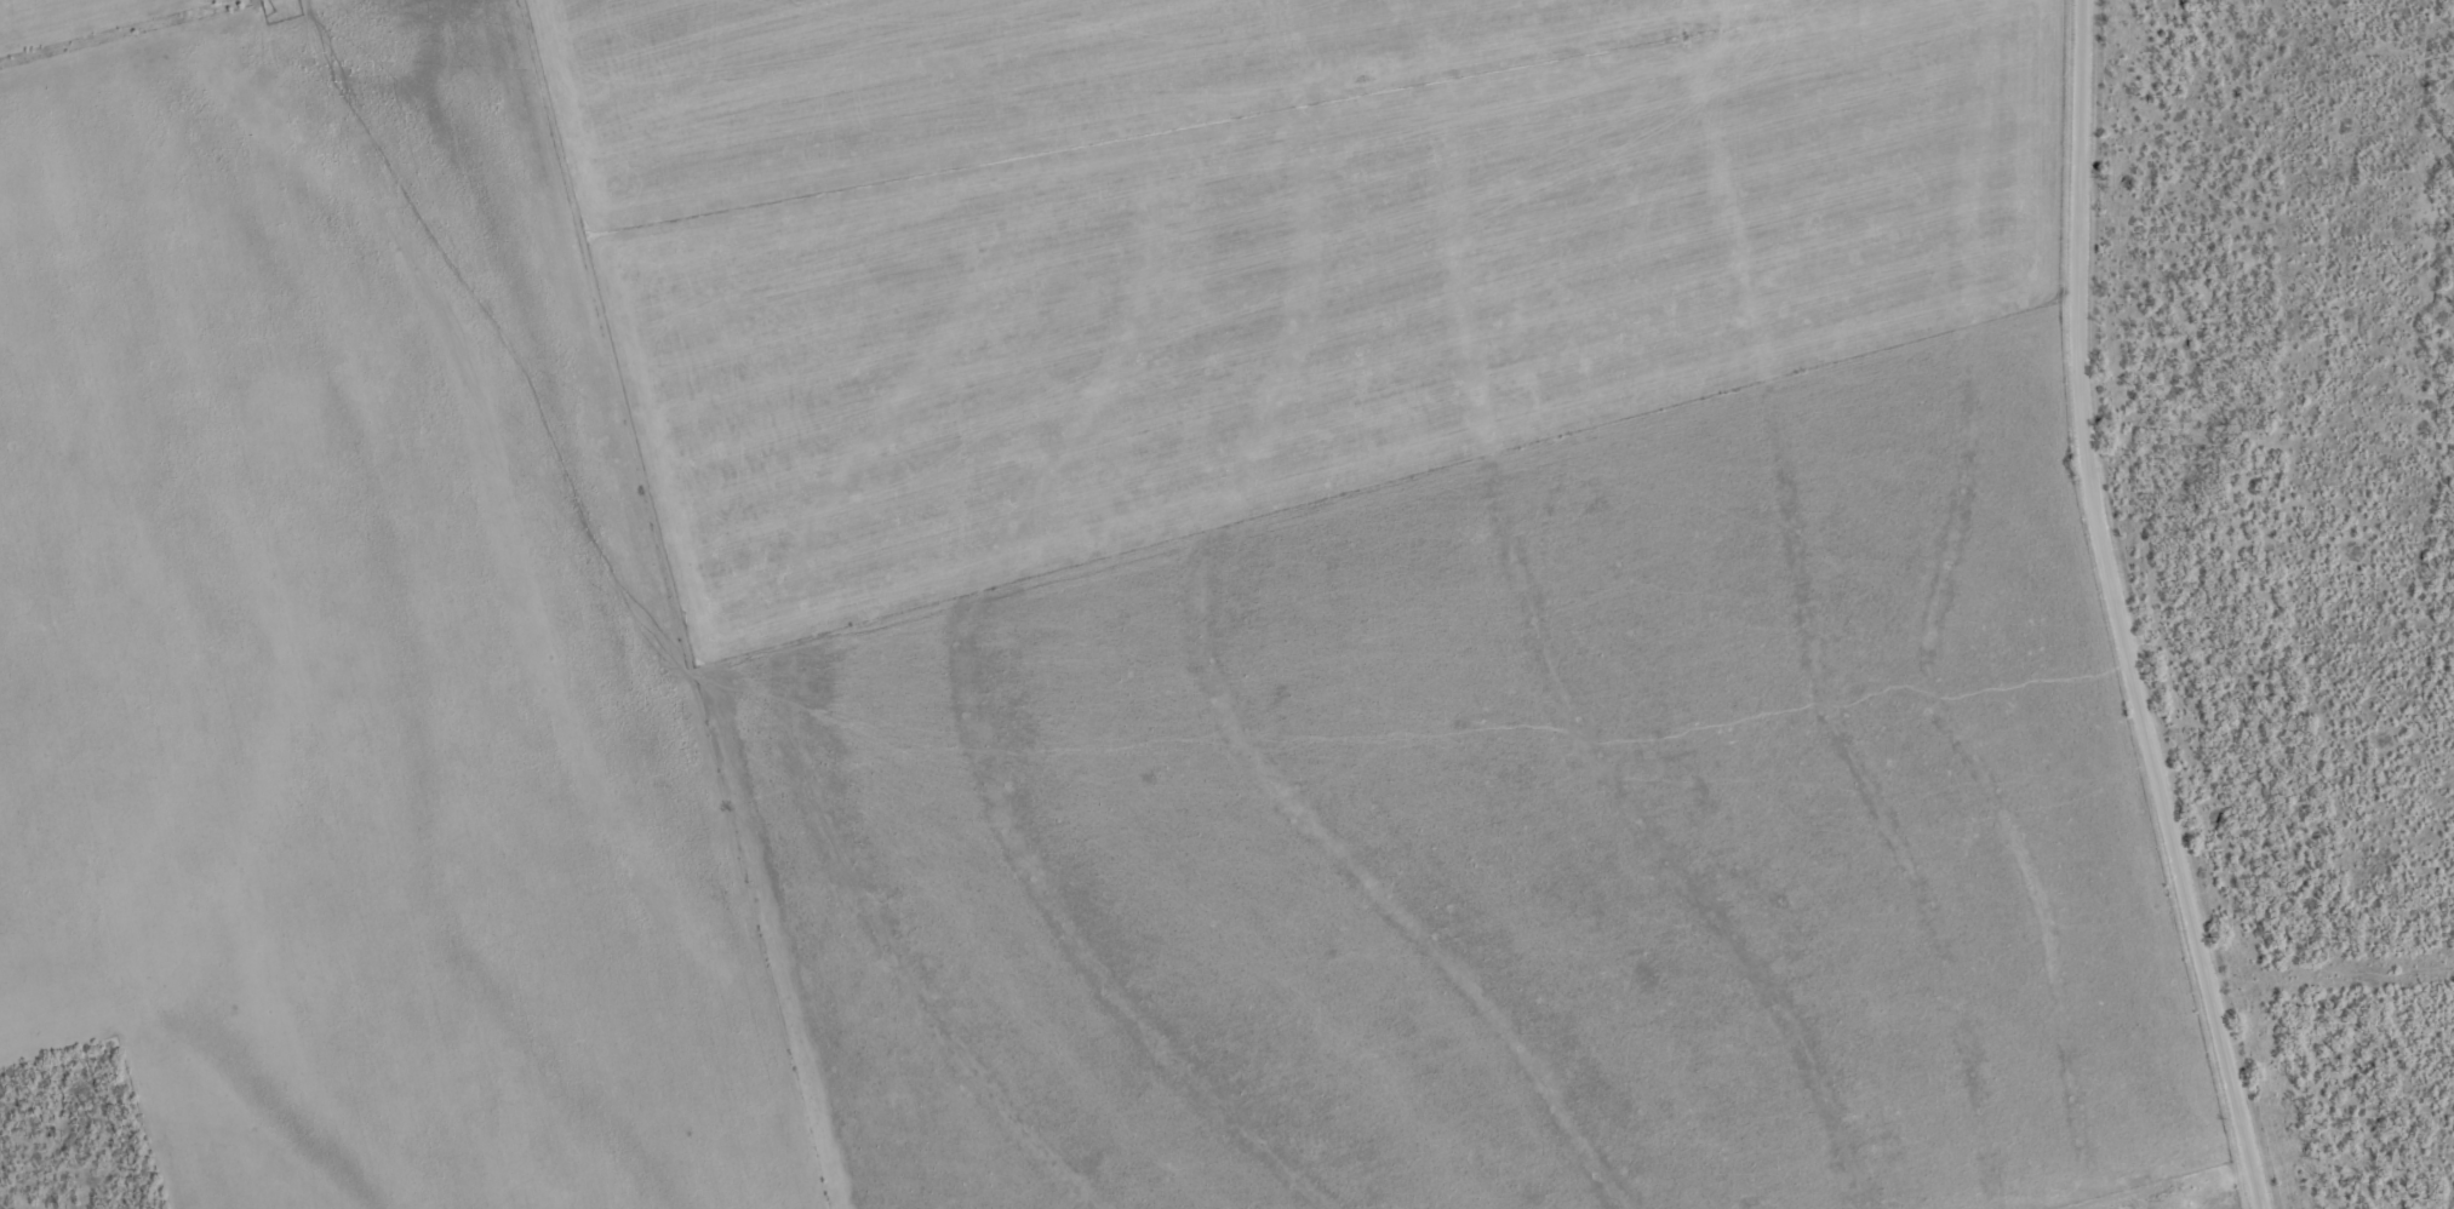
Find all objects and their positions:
road: (2126, 609)

